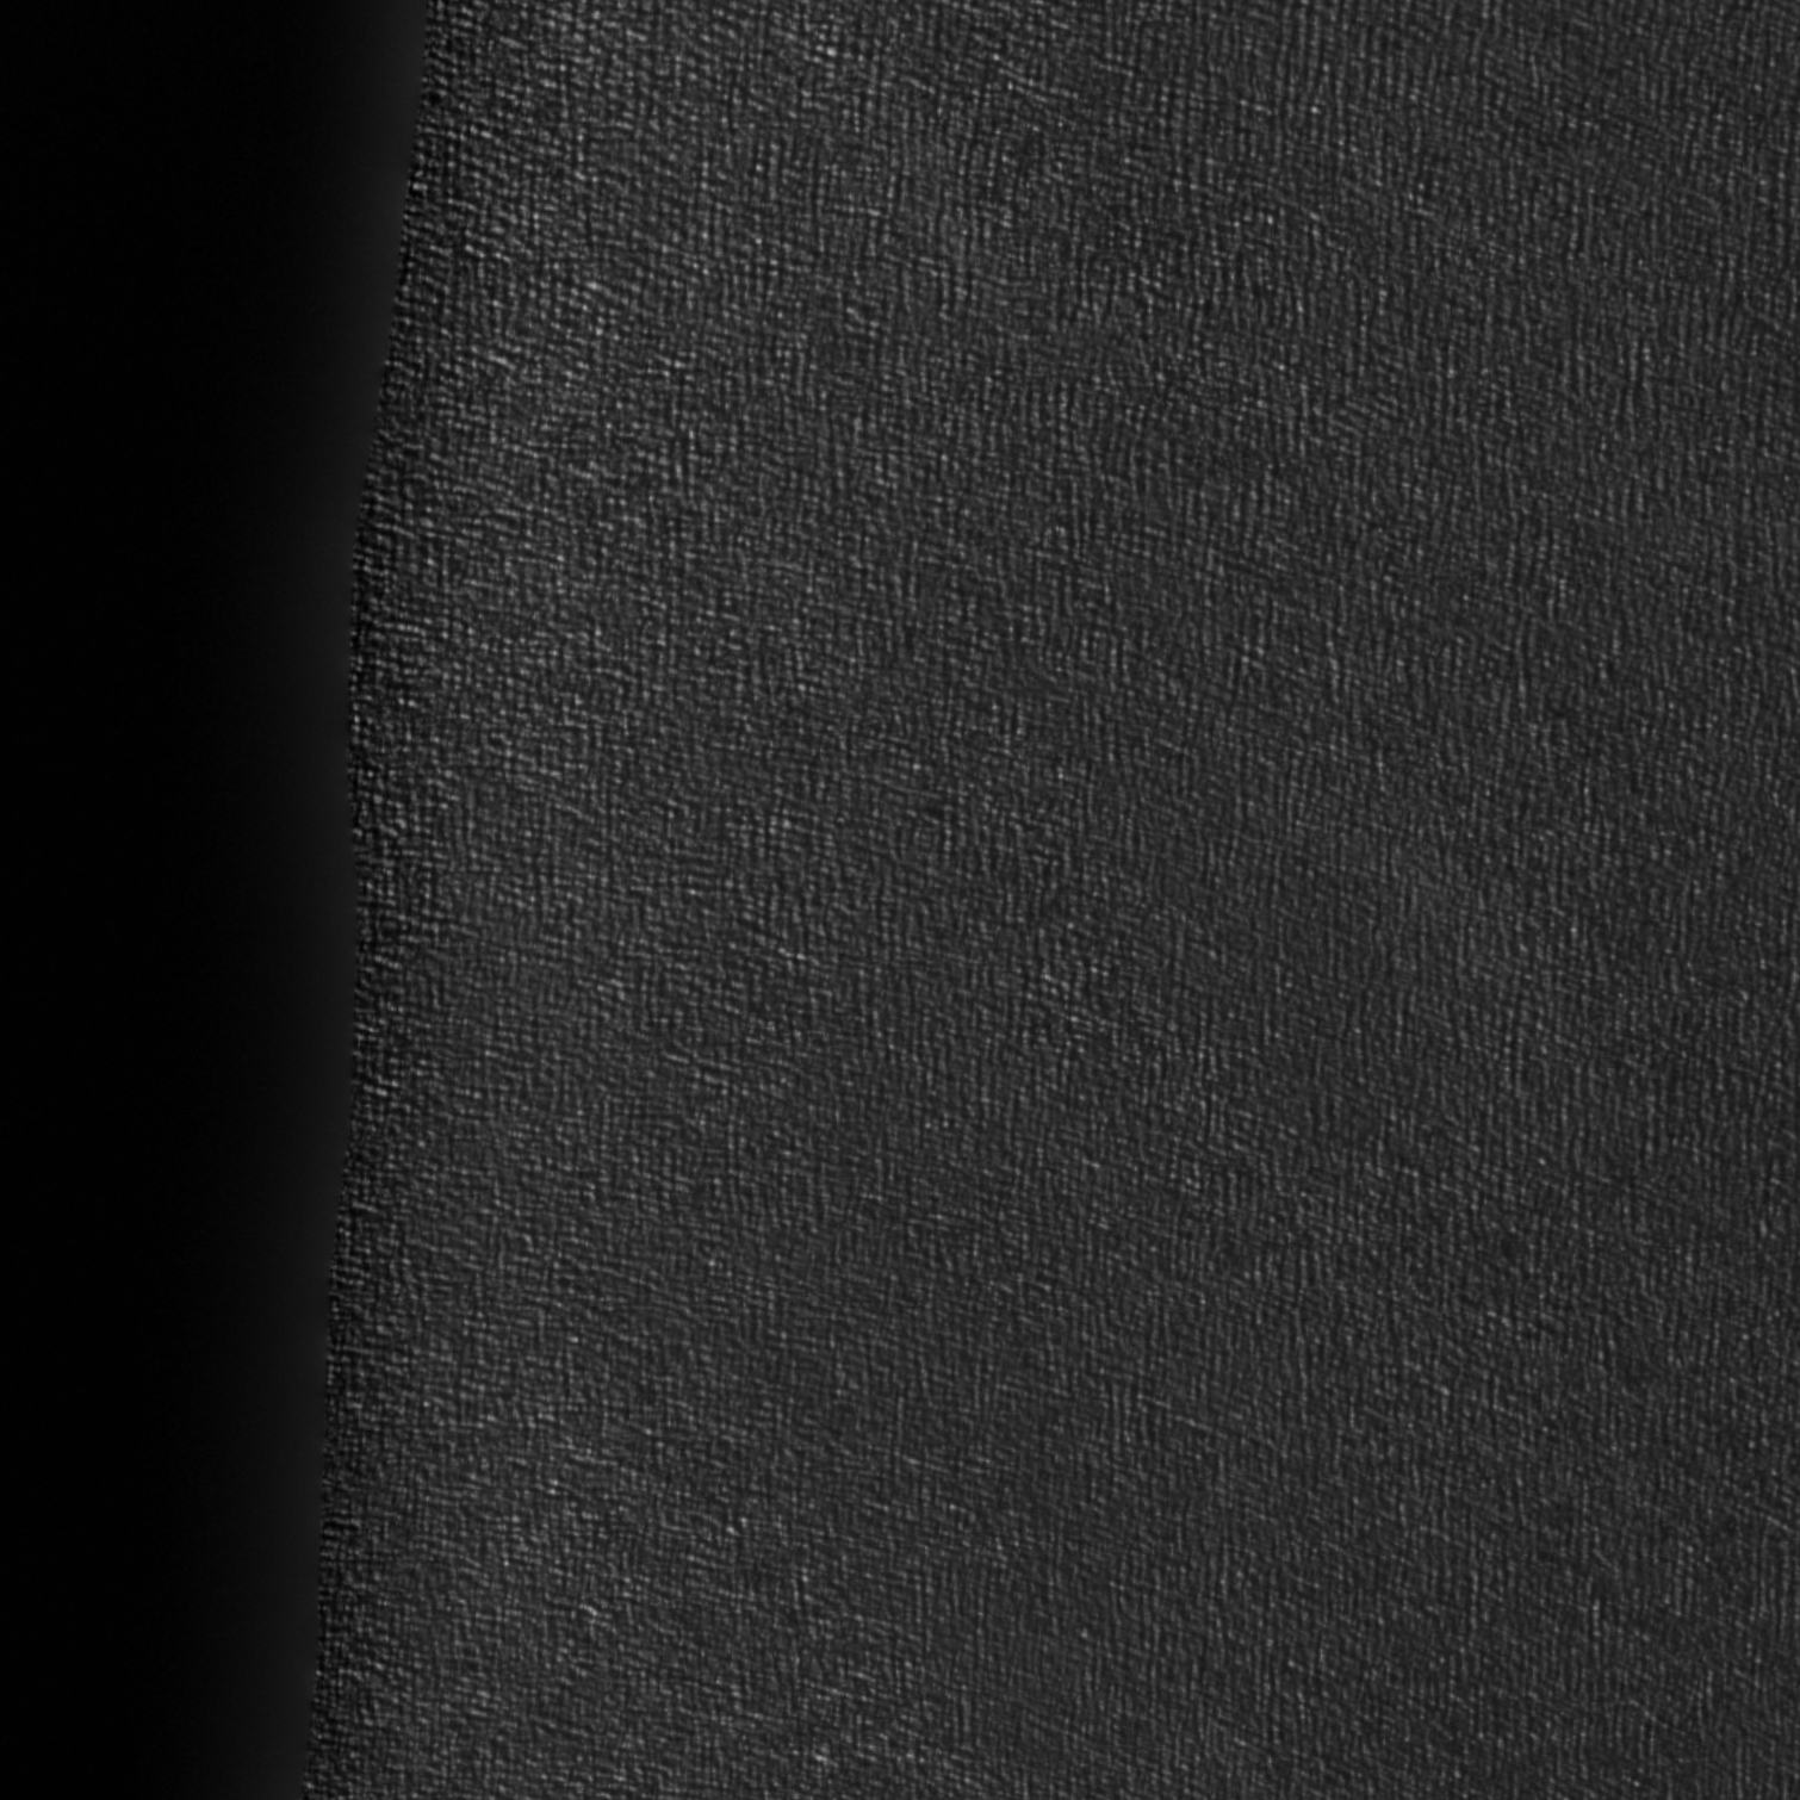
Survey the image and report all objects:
river: (1661, 1717)

